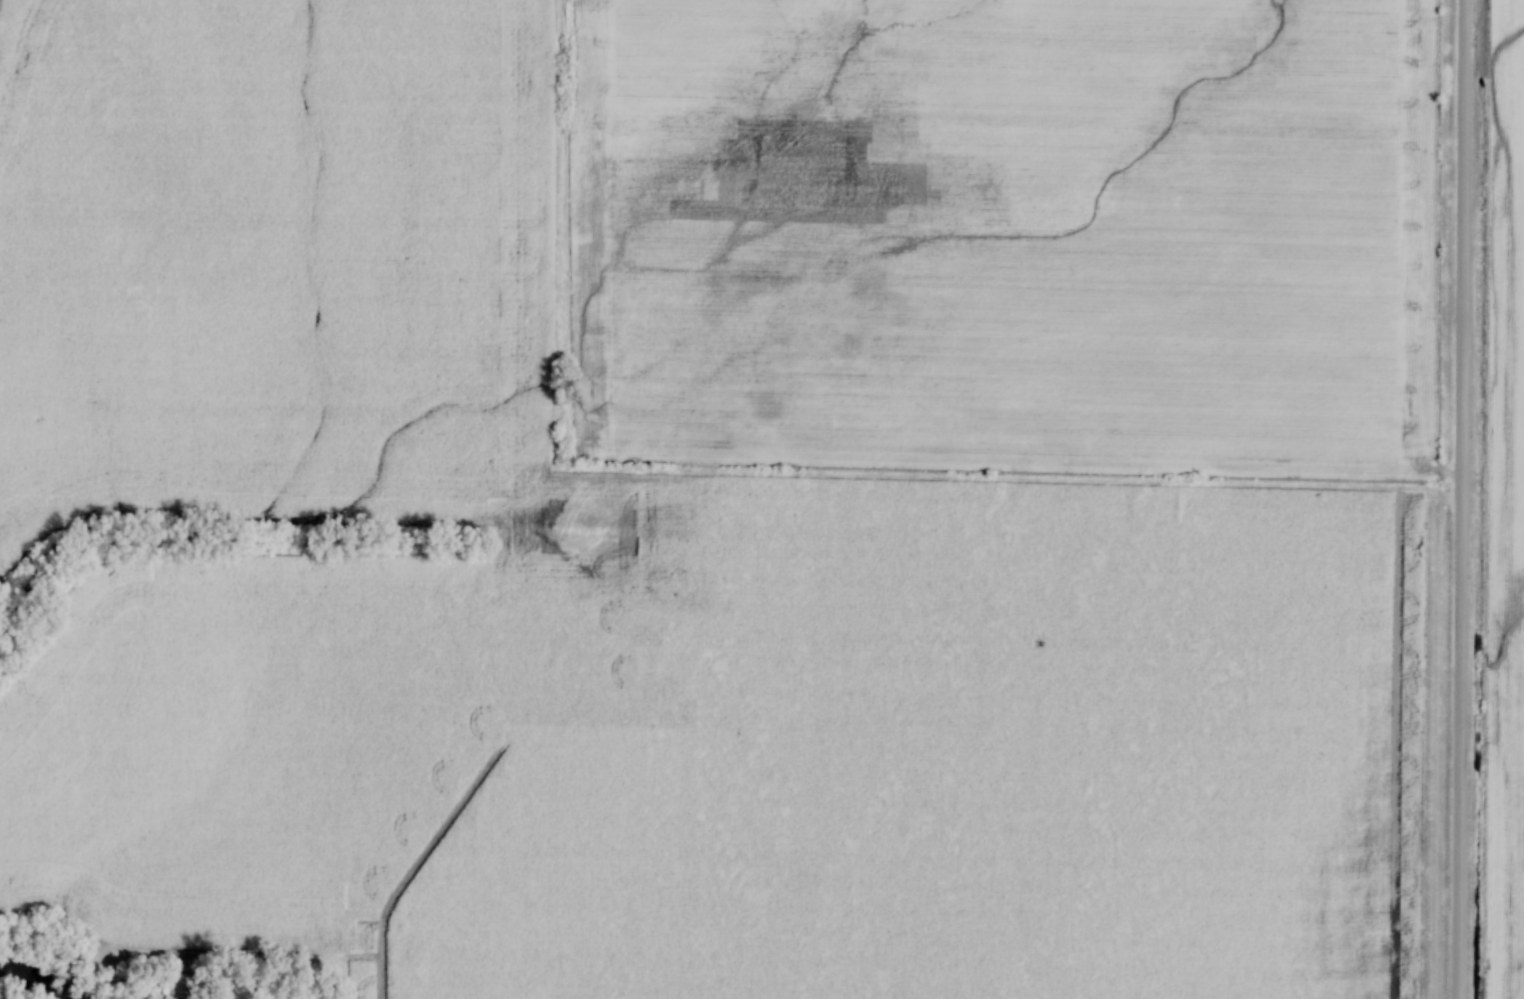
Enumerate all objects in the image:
road: (1463, 499)
river: (41, 979)

